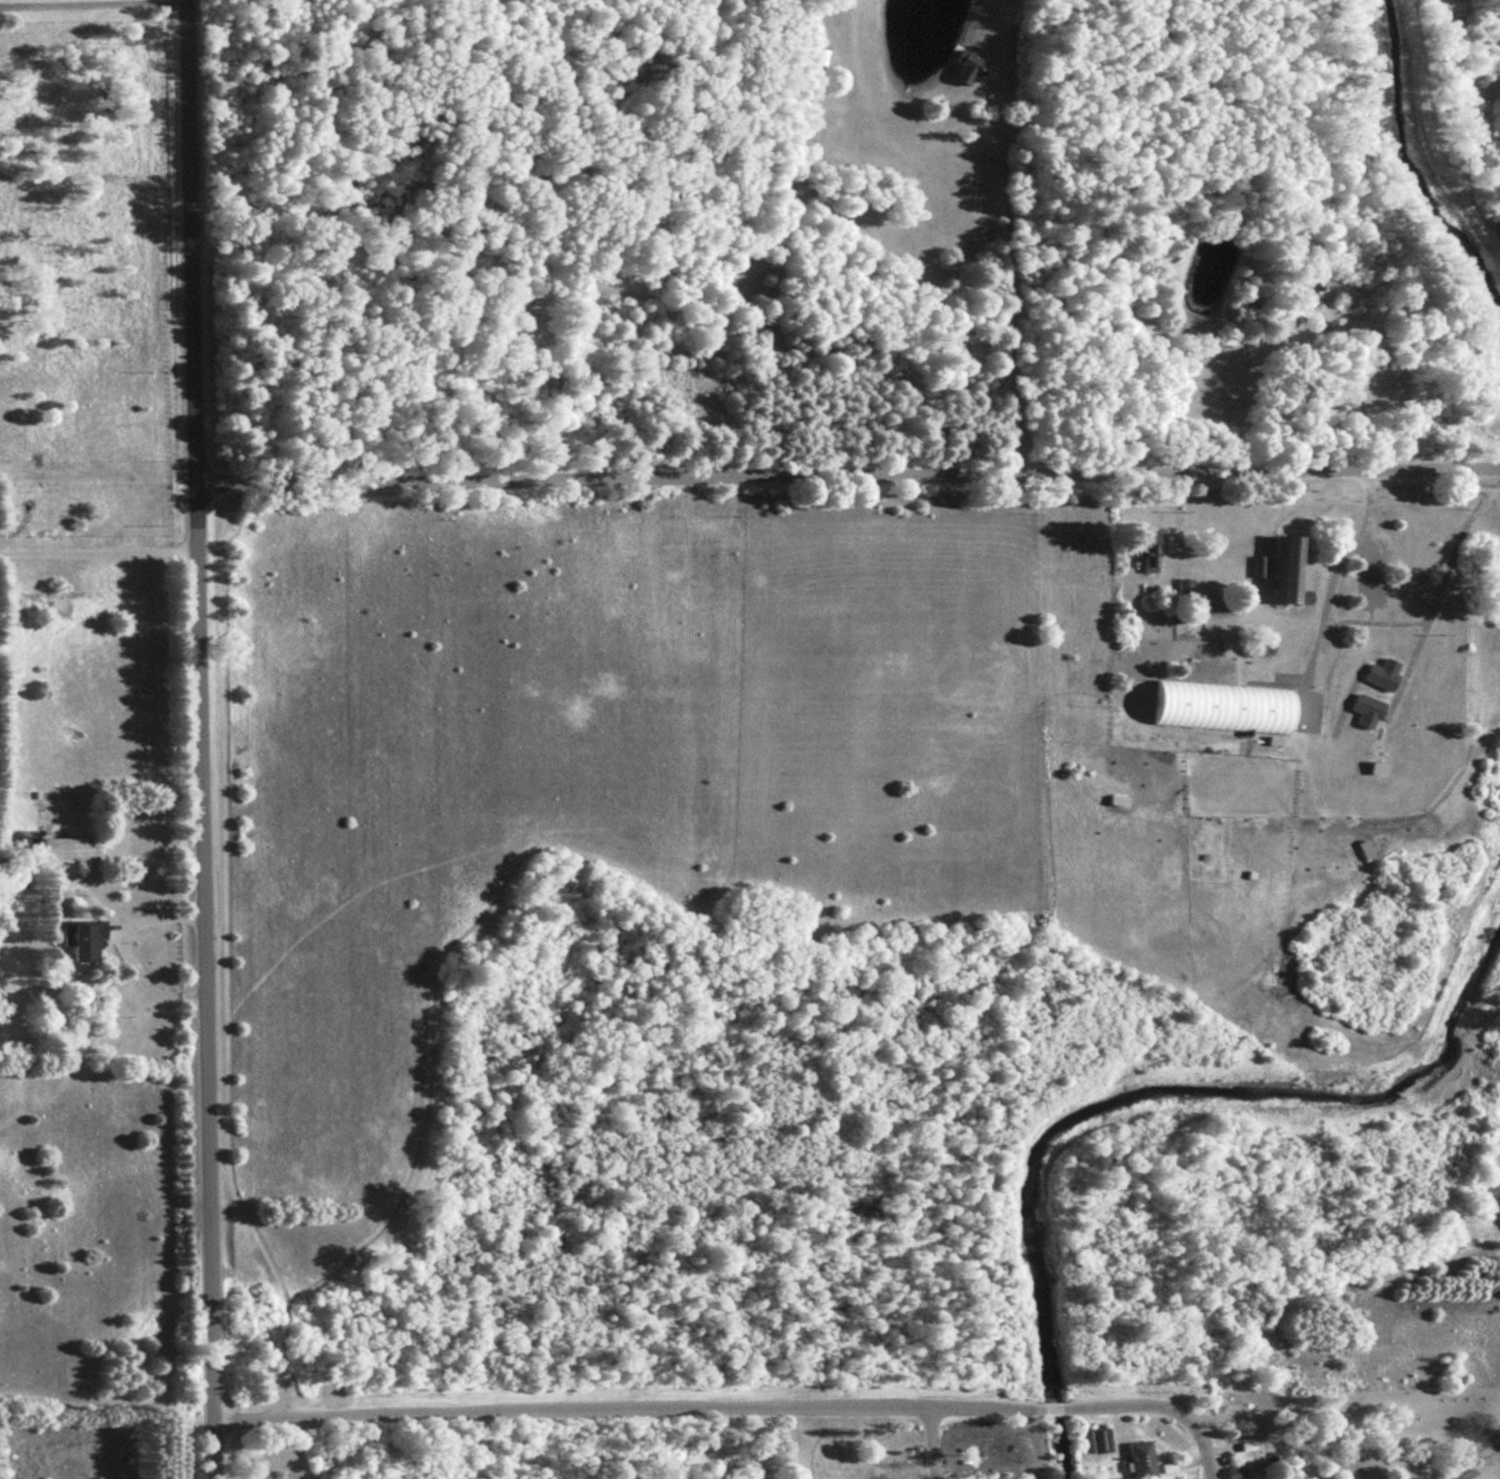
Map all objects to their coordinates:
road: (94, 3)
building: (964, 66)
building: (1295, 312)
building: (1477, 404)
road: (849, 478)
road: (100, 549)
building: (1145, 549)
building: (1284, 569)
building: (1183, 586)
building: (1380, 673)
building: (1218, 707)
building: (1364, 709)
road: (204, 739)
building: (1115, 800)
building: (68, 846)
building: (78, 942)
road: (735, 1412)
road: (1276, 1428)
building: (1098, 1440)
road: (936, 1443)
building: (1139, 1459)
building: (1235, 1472)
building: (1465, 1475)

